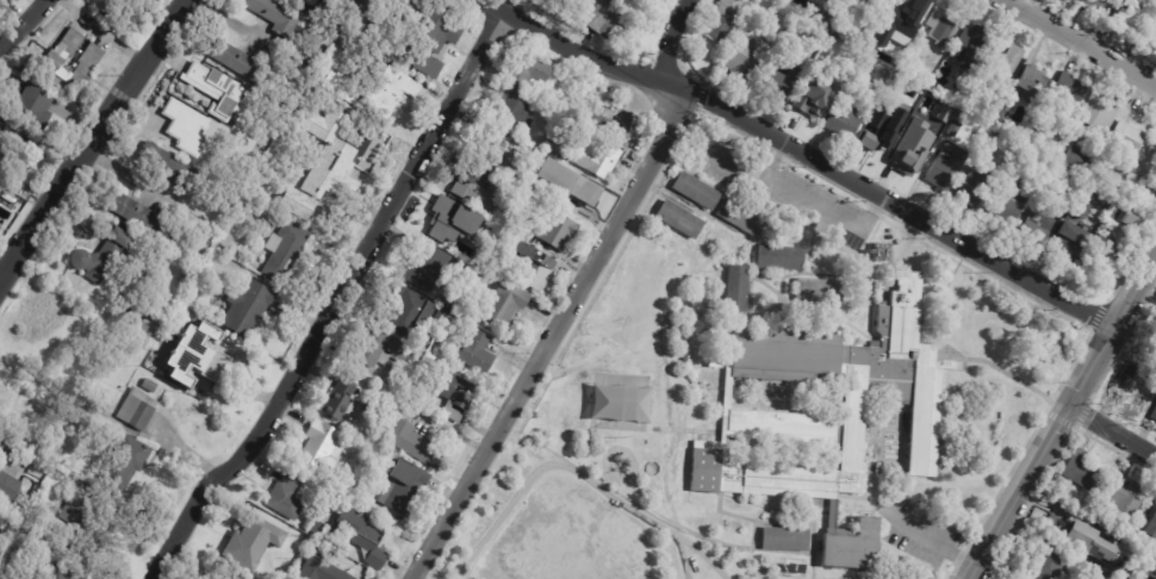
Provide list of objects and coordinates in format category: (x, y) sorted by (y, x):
building: (1064, 0)
building: (1070, 0)
building: (871, 4)
building: (108, 5)
building: (1098, 5)
building: (361, 6)
building: (411, 13)
building: (908, 13)
building: (278, 14)
building: (1129, 14)
building: (723, 19)
building: (602, 21)
road: (21, 23)
building: (939, 26)
road: (102, 31)
building: (439, 31)
building: (1150, 32)
building: (858, 35)
building: (880, 37)
road: (676, 43)
road: (1079, 43)
building: (901, 48)
building: (968, 48)
road: (578, 52)
building: (744, 57)
building: (238, 60)
building: (422, 62)
building: (74, 63)
building: (1001, 63)
building: (530, 70)
building: (777, 82)
building: (1031, 85)
building: (341, 86)
building: (897, 86)
building: (1069, 87)
building: (222, 89)
building: (390, 91)
building: (808, 96)
building: (993, 101)
building: (512, 108)
building: (31, 111)
building: (574, 111)
building: (989, 111)
building: (1001, 112)
building: (1096, 113)
building: (611, 118)
building: (919, 118)
building: (841, 120)
building: (953, 129)
building: (1048, 130)
building: (880, 131)
building: (1126, 137)
building: (193, 138)
road: (93, 139)
building: (944, 143)
building: (1040, 145)
building: (560, 147)
building: (501, 151)
building: (11, 155)
building: (1102, 155)
building: (1079, 156)
building: (605, 157)
building: (1018, 158)
building: (907, 161)
building: (172, 166)
road: (740, 168)
road: (122, 169)
building: (476, 169)
building: (943, 172)
building: (1144, 172)
building: (1114, 173)
building: (324, 180)
building: (572, 181)
parking lot: (773, 181)
building: (971, 187)
building: (694, 192)
building: (483, 193)
building: (1124, 194)
road: (810, 201)
building: (296, 203)
road: (893, 206)
building: (1005, 207)
building: (1075, 210)
building: (1119, 211)
building: (147, 214)
building: (740, 218)
building: (1130, 218)
building: (454, 220)
building: (676, 220)
building: (495, 228)
building: (552, 228)
building: (1033, 229)
building: (126, 235)
building: (1062, 243)
building: (287, 250)
building: (1104, 254)
building: (781, 259)
building: (98, 261)
building: (478, 261)
building: (504, 262)
building: (428, 264)
building: (533, 266)
building: (485, 273)
building: (734, 289)
road: (1145, 291)
building: (815, 292)
road: (334, 298)
building: (509, 299)
building: (250, 306)
building: (415, 313)
building: (147, 322)
road: (549, 337)
building: (136, 341)
building: (1152, 343)
building: (385, 347)
building: (479, 351)
building: (197, 355)
building: (684, 357)
building: (711, 360)
building: (150, 384)
building: (1132, 391)
building: (460, 394)
building: (343, 400)
building: (838, 404)
building: (139, 409)
road: (1063, 413)
building: (1152, 415)
road: (1112, 432)
building: (373, 440)
building: (417, 443)
building: (319, 444)
building: (379, 446)
building: (131, 457)
building: (878, 471)
building: (1081, 471)
road: (580, 474)
building: (1056, 478)
building: (8, 486)
building: (406, 488)
building: (290, 497)
building: (1124, 500)
building: (325, 516)
building: (1150, 525)
building: (92, 528)
park: (576, 530)
parking lot: (920, 534)
building: (365, 536)
road: (927, 538)
building: (248, 540)
building: (782, 541)
building: (1092, 543)
building: (856, 544)
road: (683, 555)
building: (1046, 561)
building: (323, 569)
building: (1101, 569)
building: (62, 571)
road: (430, 572)
building: (217, 573)
building: (26, 578)

